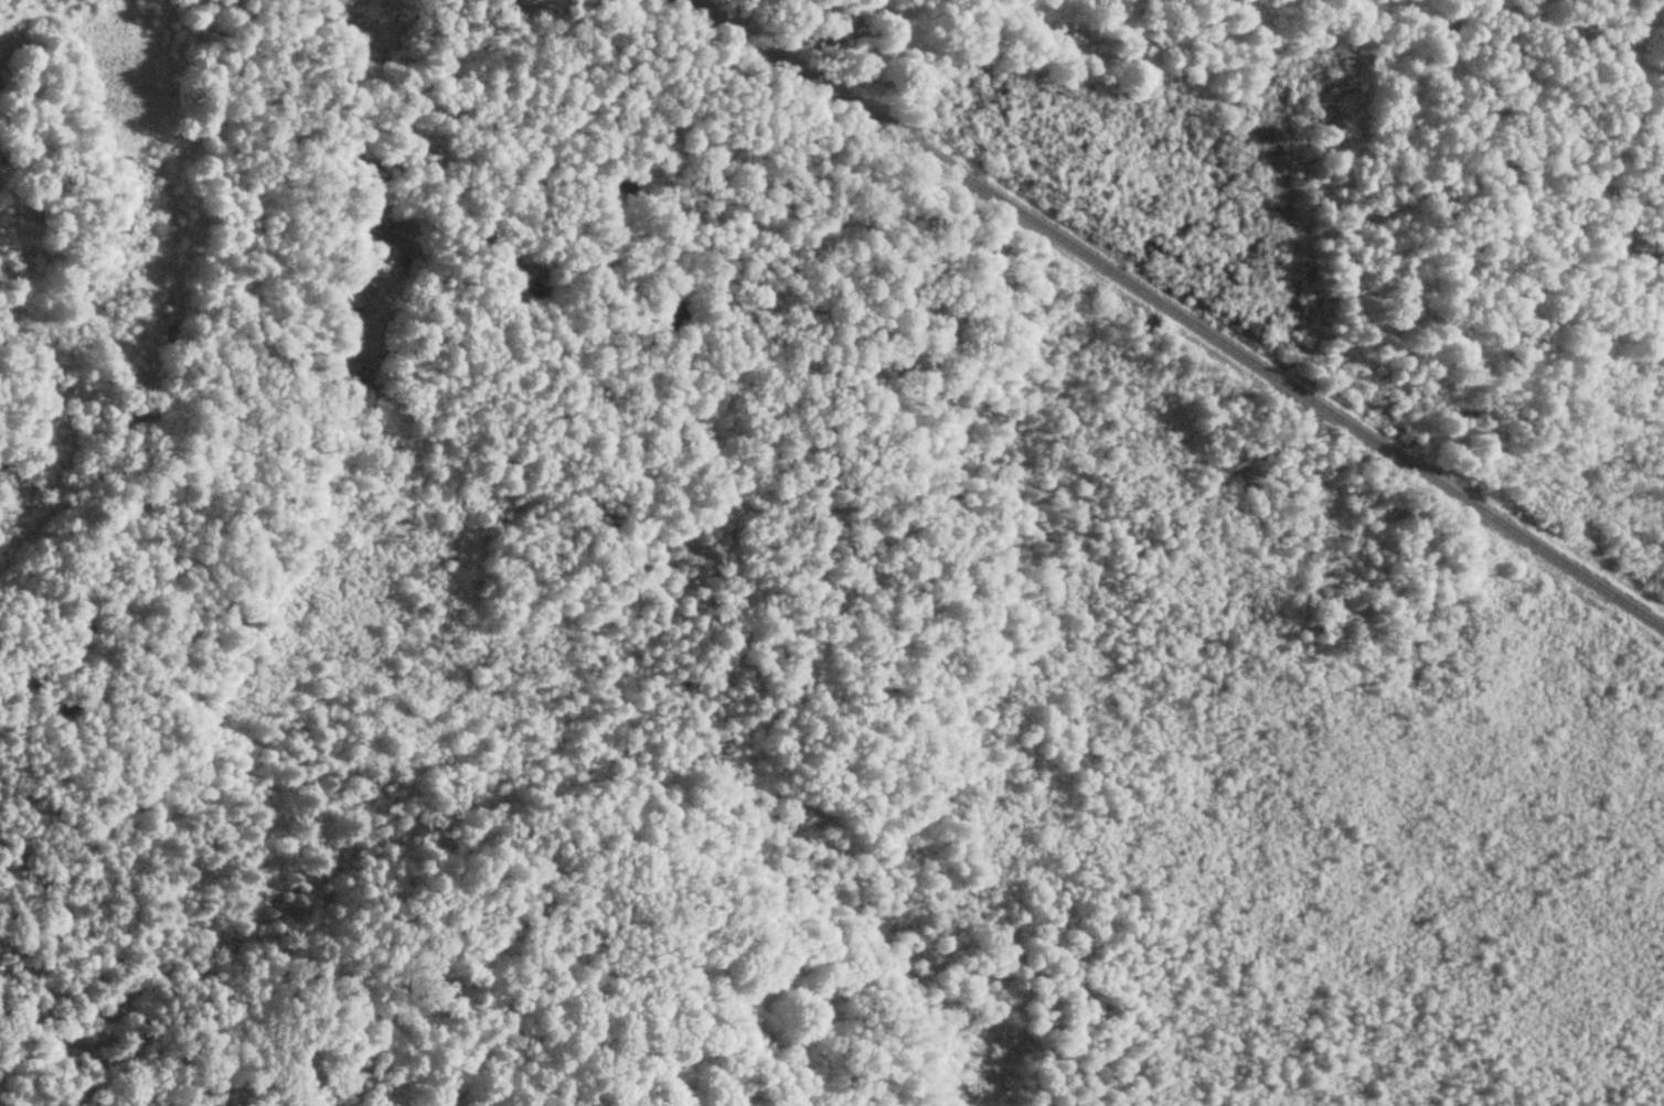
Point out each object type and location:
railway: (1178, 312)

